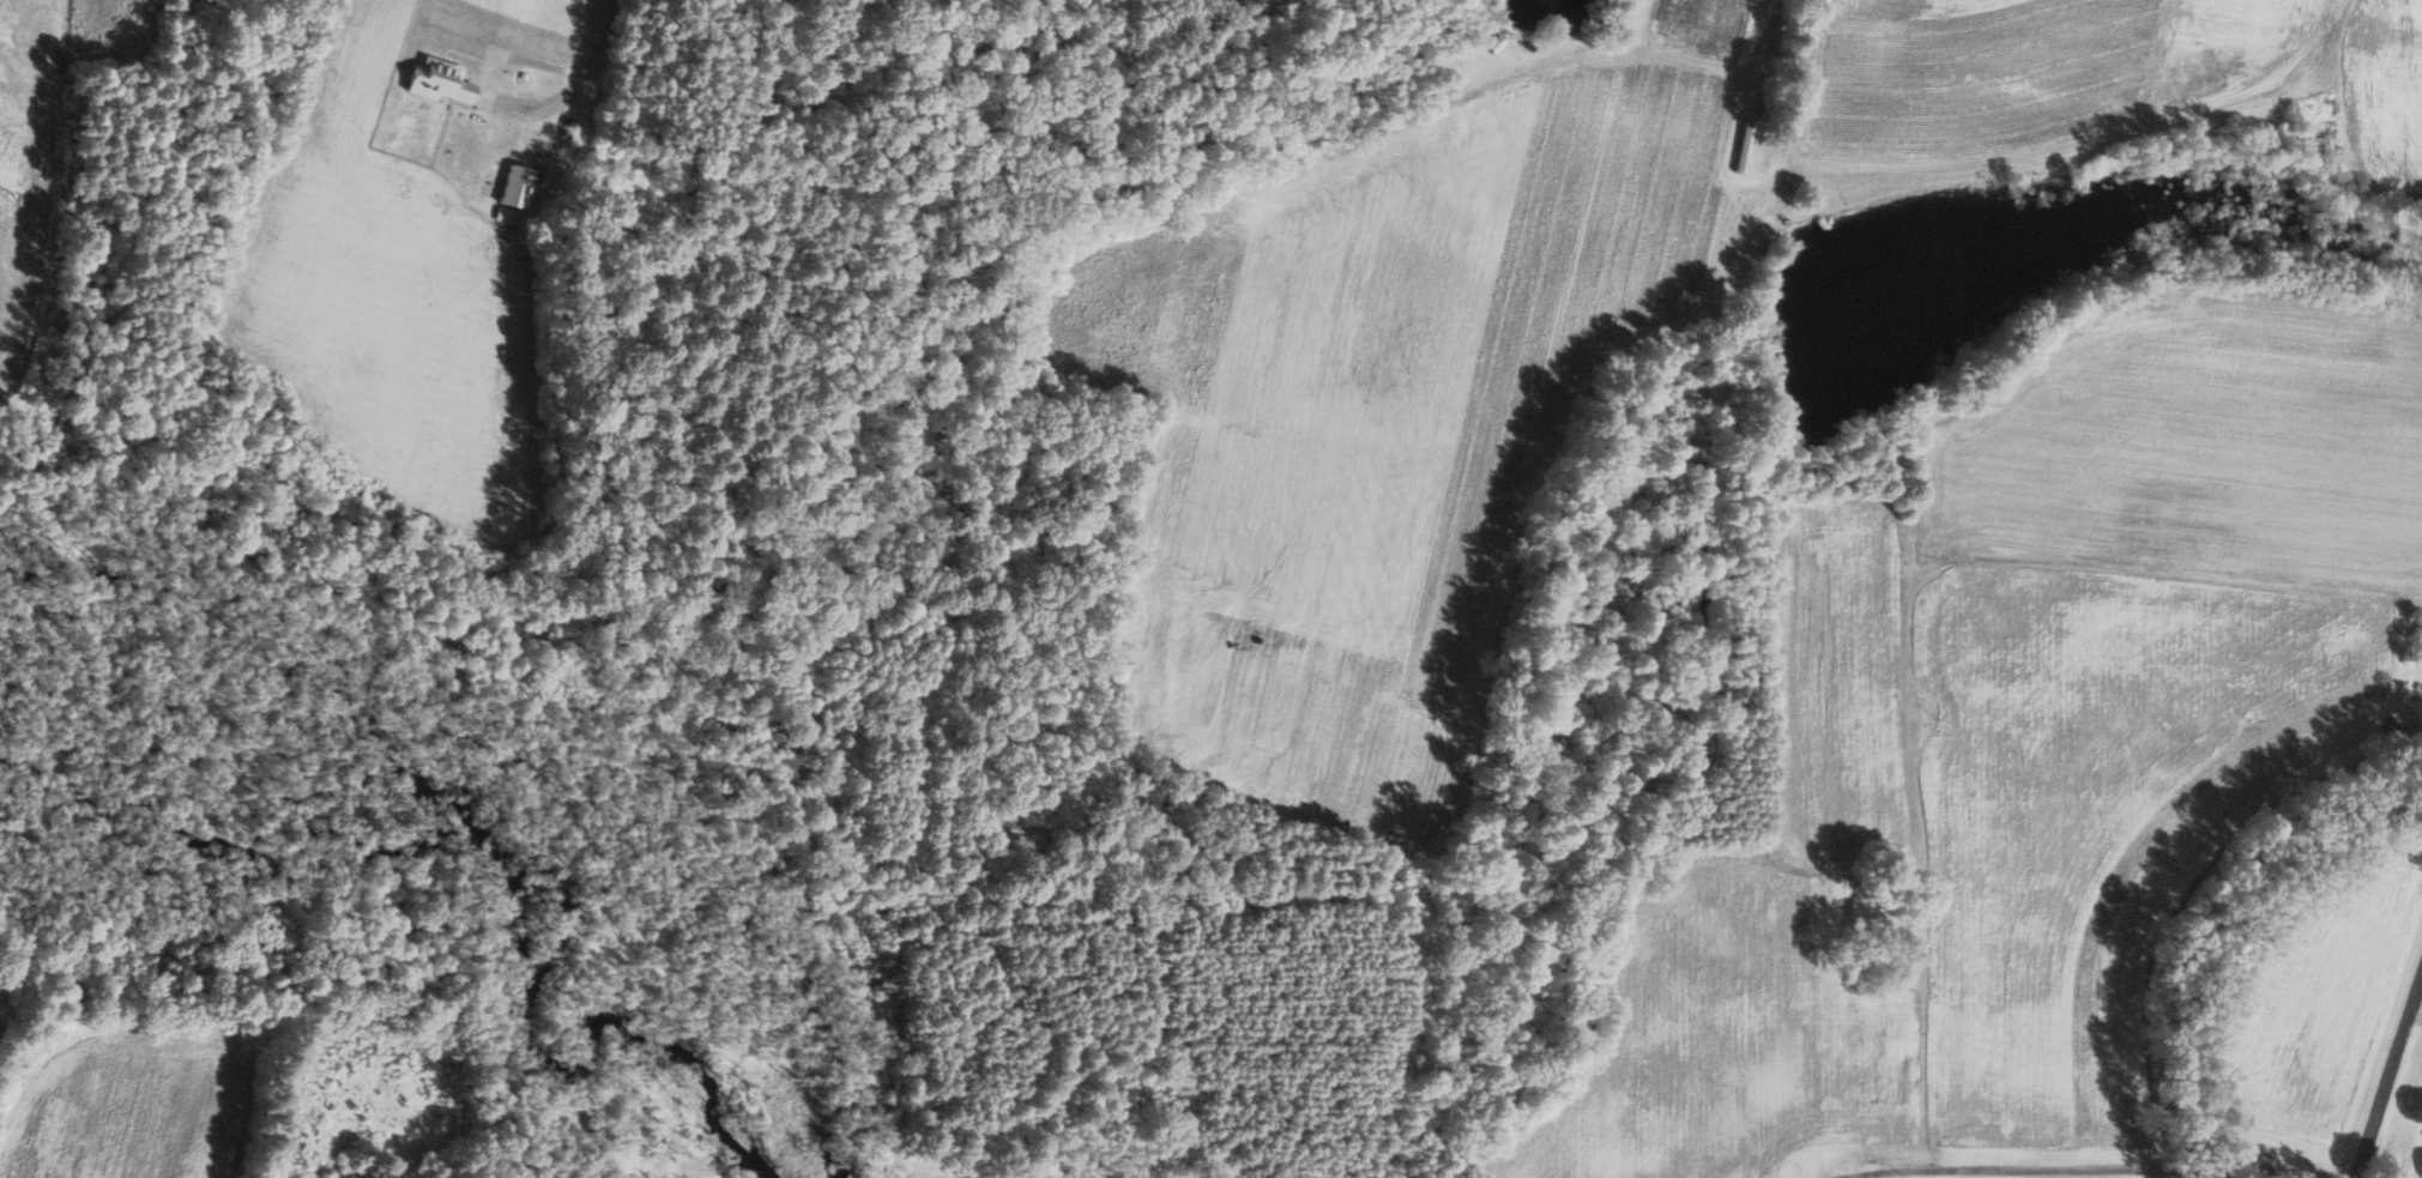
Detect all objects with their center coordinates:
road: (602, 34)
building: (441, 81)
road: (475, 90)
road: (2107, 132)
building: (515, 193)
river: (495, 803)
road: (2415, 1013)
road: (2386, 1071)
road: (2092, 1168)

